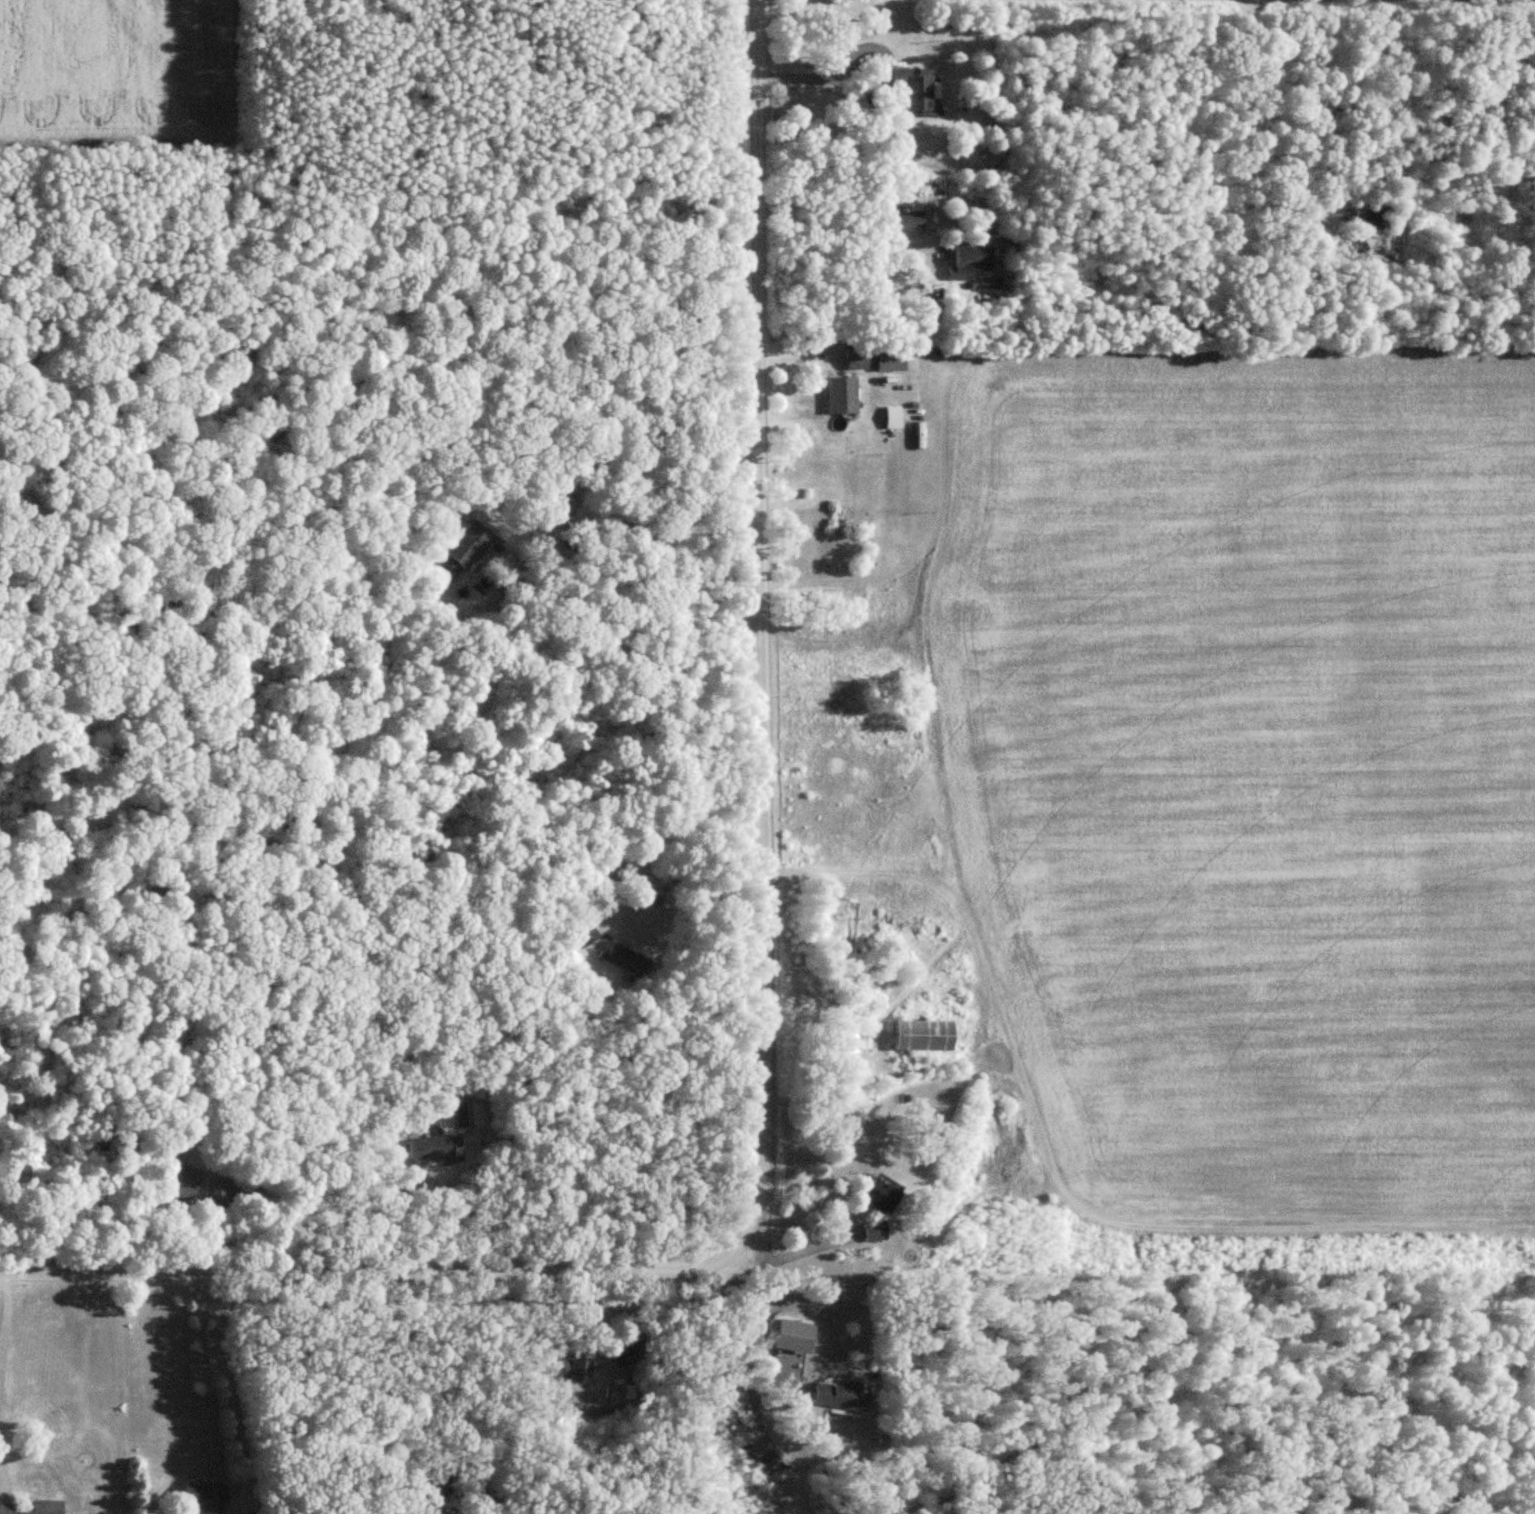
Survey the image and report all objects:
road: (850, 73)
building: (918, 88)
building: (1376, 216)
building: (909, 221)
building: (972, 259)
building: (856, 359)
building: (891, 360)
building: (842, 393)
road: (1098, 440)
building: (572, 503)
building: (840, 529)
road: (634, 542)
building: (460, 552)
road: (762, 628)
road: (633, 858)
building: (579, 926)
building: (851, 926)
building: (625, 959)
building: (924, 1034)
building: (434, 1147)
building: (179, 1186)
building: (222, 1191)
building: (879, 1195)
building: (874, 1231)
road: (801, 1246)
road: (573, 1272)
road: (5, 1310)
road: (730, 1335)
building: (793, 1335)
building: (562, 1367)
road: (233, 1388)
road: (442, 1394)
building: (841, 1395)
building: (765, 1459)
building: (428, 1495)
building: (205, 1497)
building: (42, 1507)
building: (7, 1508)

